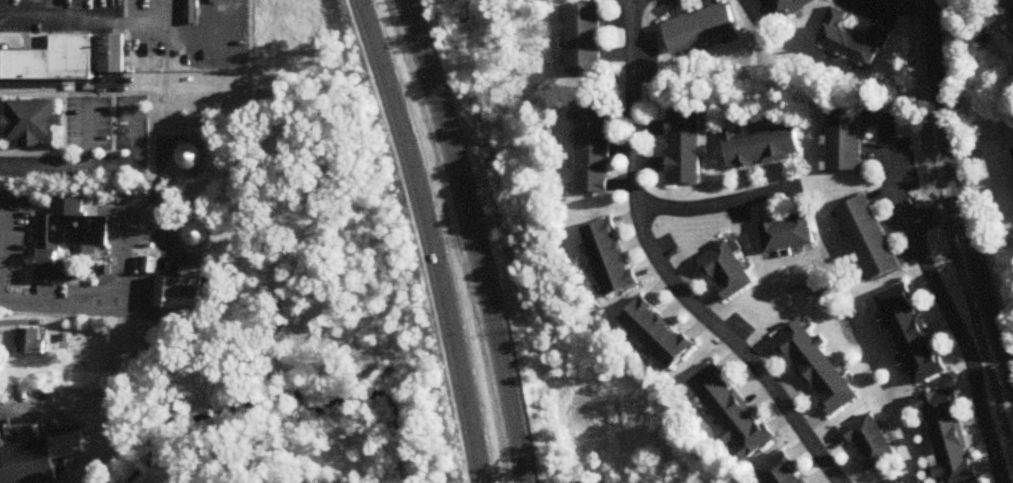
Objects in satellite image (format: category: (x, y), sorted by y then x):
road: (639, 1)
building: (1011, 6)
building: (789, 8)
road: (899, 8)
road: (58, 14)
building: (701, 29)
building: (585, 41)
building: (854, 41)
building: (114, 52)
building: (53, 60)
road: (53, 85)
building: (32, 122)
road: (86, 133)
building: (846, 138)
building: (684, 147)
building: (593, 152)
road: (98, 163)
road: (892, 169)
road: (957, 193)
road: (719, 207)
road: (936, 216)
road: (4, 228)
building: (788, 233)
road: (477, 238)
building: (870, 238)
road: (432, 239)
building: (66, 244)
building: (611, 257)
road: (667, 269)
building: (728, 270)
building: (181, 290)
road: (103, 301)
building: (659, 332)
building: (912, 334)
building: (31, 342)
road: (968, 349)
road: (1010, 365)
building: (818, 368)
road: (30, 403)
building: (733, 410)
building: (949, 435)
building: (871, 442)
building: (38, 459)
building: (784, 470)

